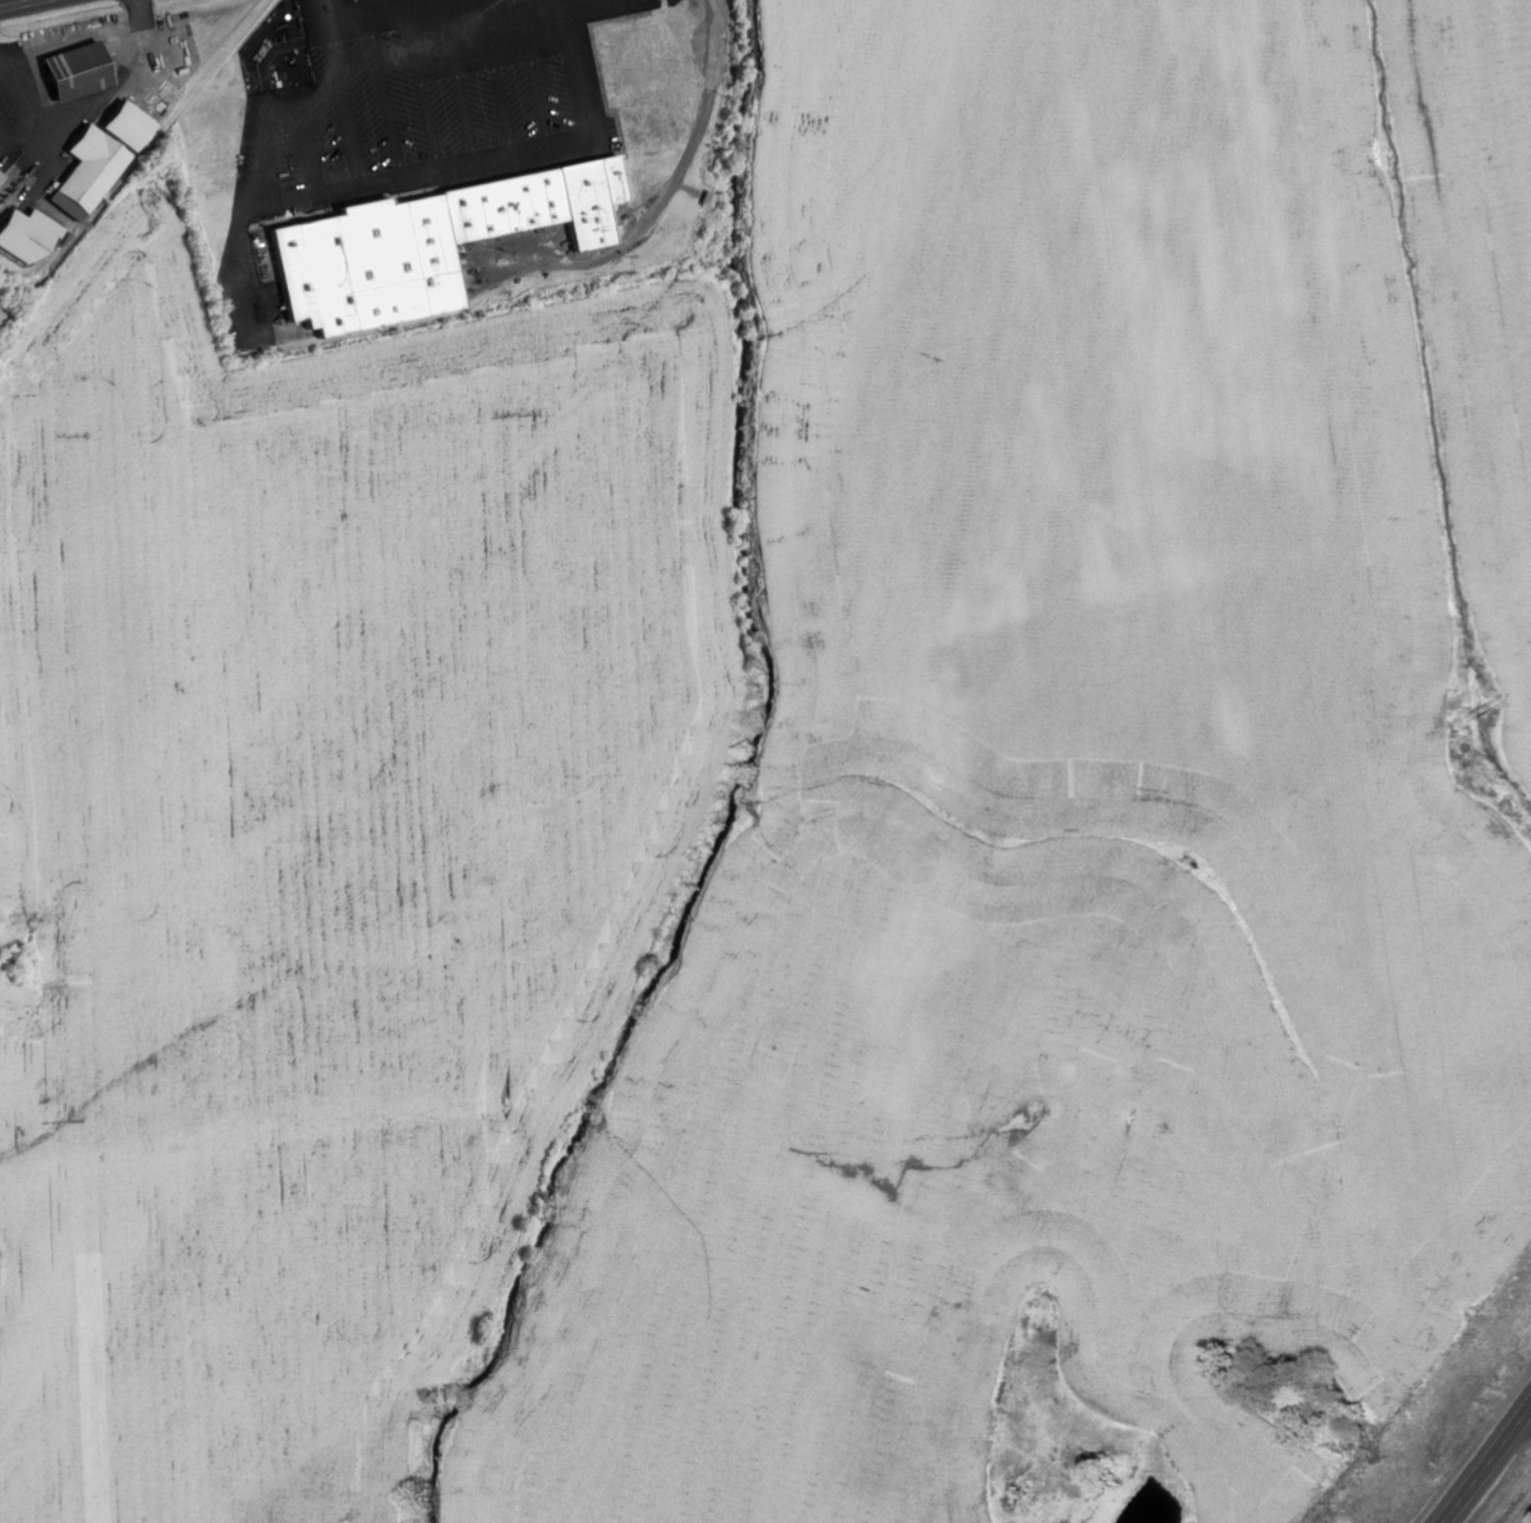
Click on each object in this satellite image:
road: (21, 4)
building: (79, 72)
building: (128, 127)
building: (0, 178)
building: (91, 178)
building: (30, 237)
building: (430, 245)
road: (1485, 1465)

